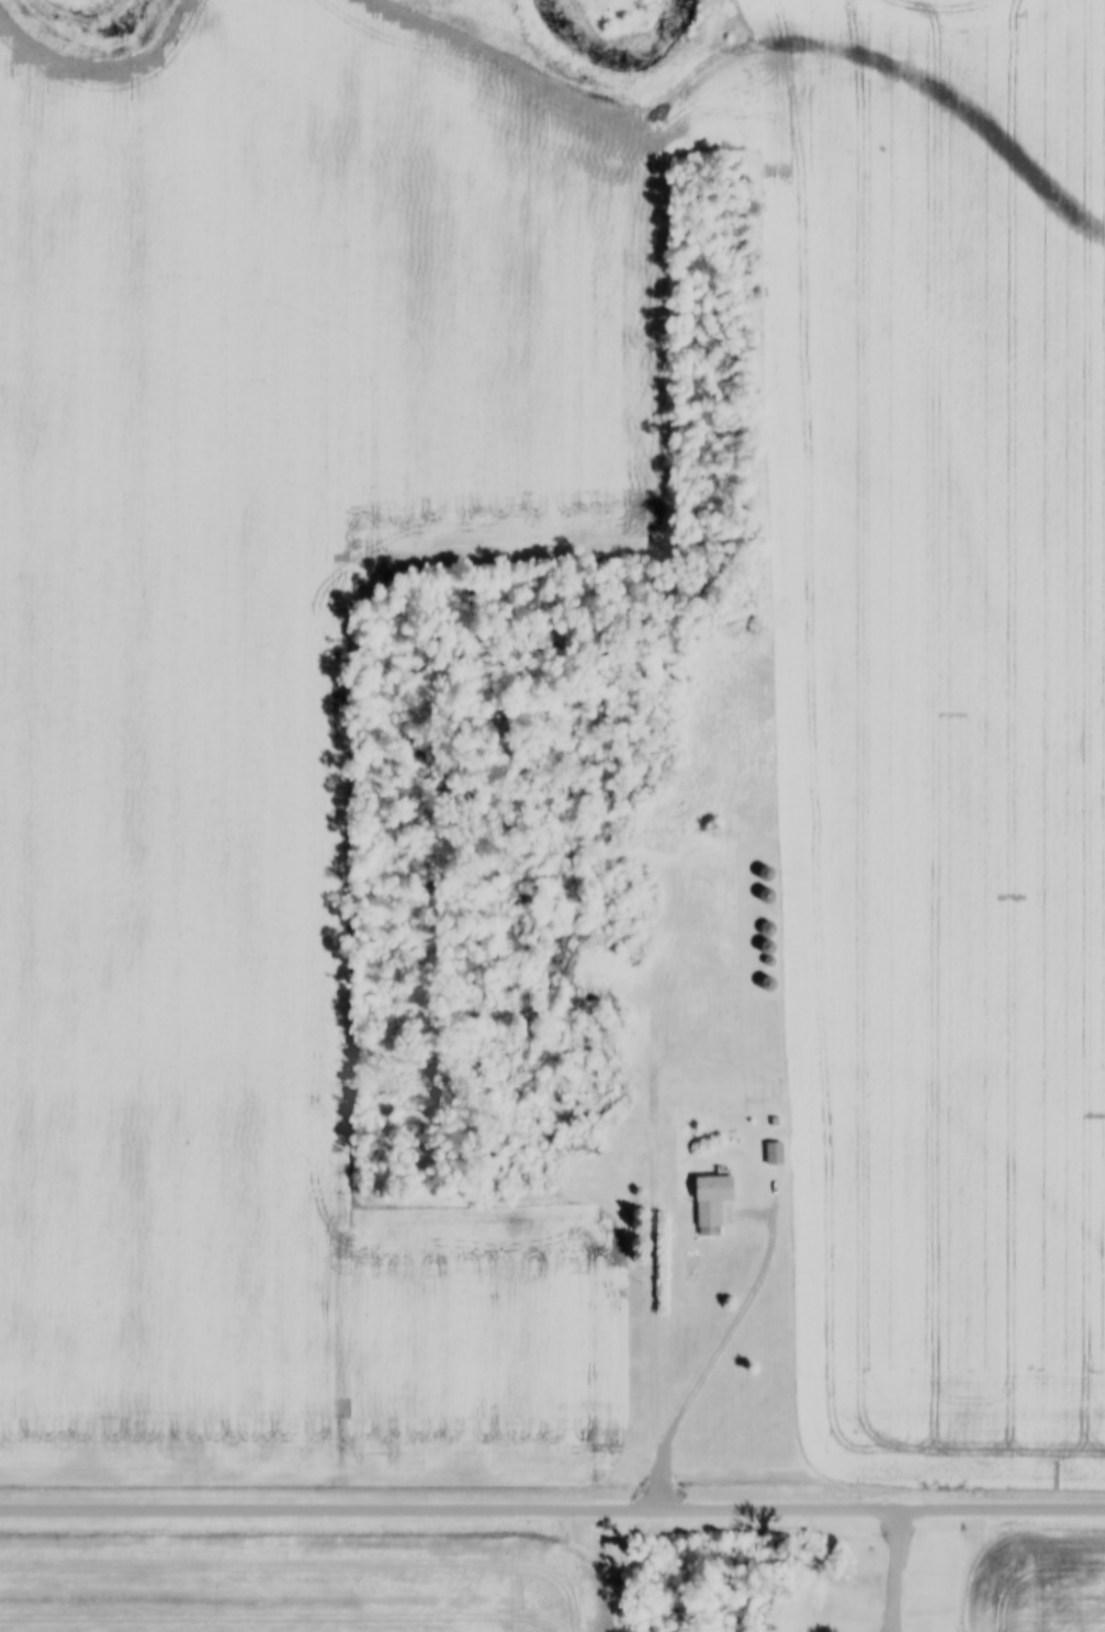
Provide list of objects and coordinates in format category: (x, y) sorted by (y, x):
building: (773, 1151)
building: (709, 1201)
road: (719, 1348)
road: (552, 1511)
road: (895, 1571)
building: (846, 1622)

